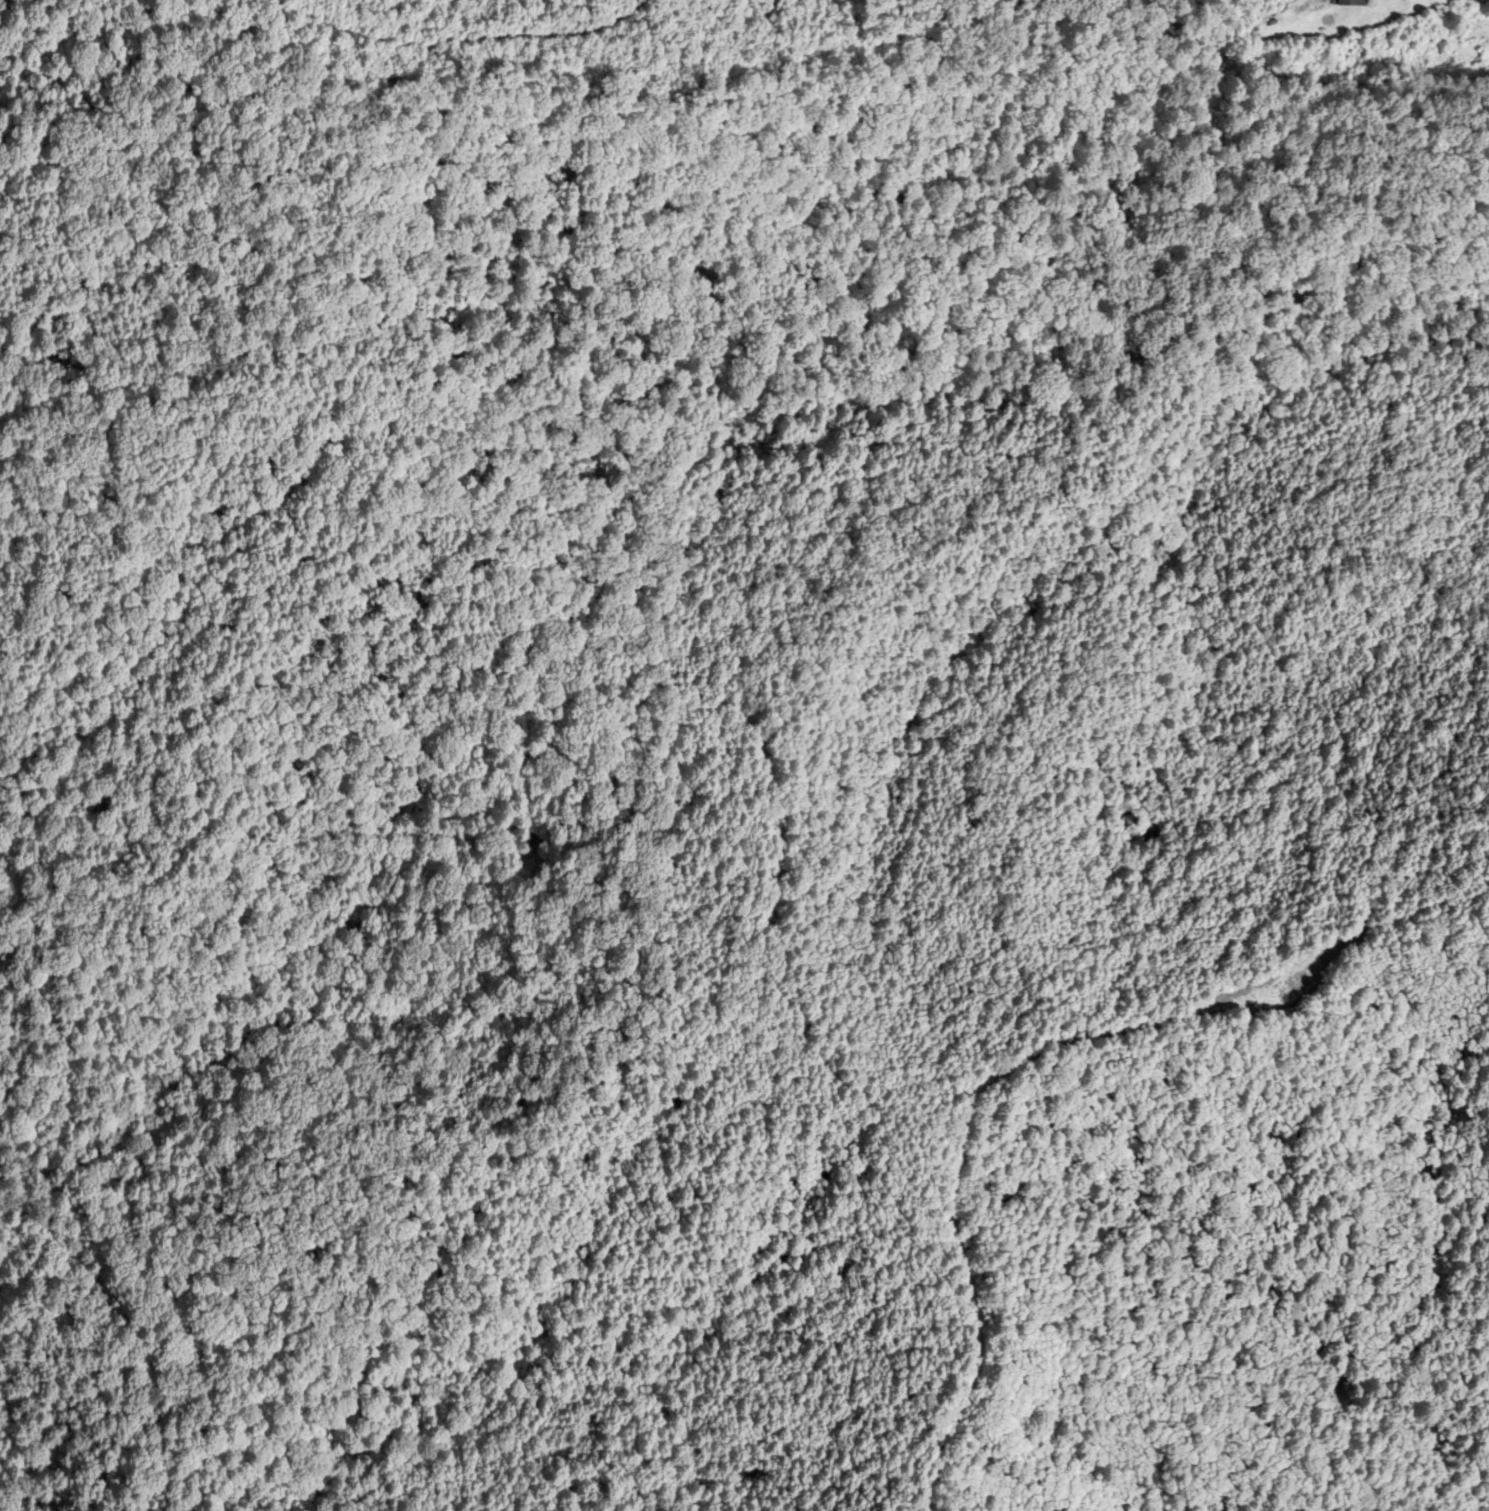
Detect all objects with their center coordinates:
building: (1354, 3)

